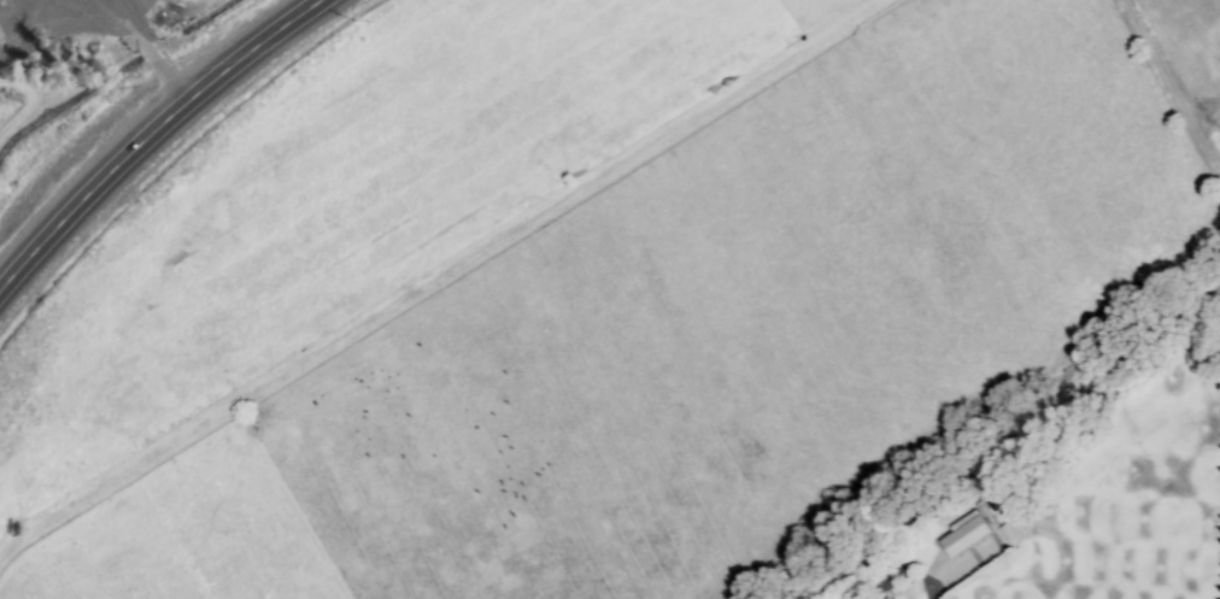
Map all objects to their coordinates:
building: (0, 37)
road: (145, 48)
road: (149, 136)
building: (972, 538)

